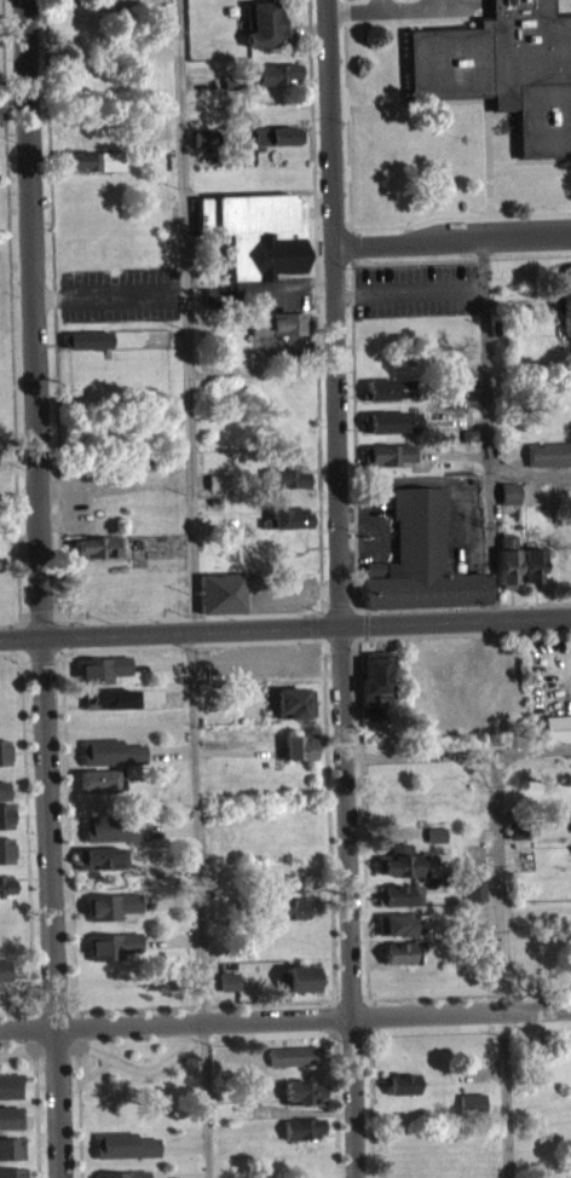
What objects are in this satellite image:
road: (375, 4)
road: (402, 7)
road: (348, 10)
road: (417, 18)
building: (263, 34)
building: (500, 69)
building: (276, 83)
road: (398, 88)
road: (344, 111)
street lamp: (341, 121)
building: (277, 145)
building: (202, 148)
road: (308, 151)
building: (90, 171)
road: (440, 215)
road: (347, 224)
road: (451, 241)
building: (253, 243)
road: (460, 258)
building: (566, 287)
road: (184, 313)
building: (564, 319)
building: (278, 334)
building: (85, 350)
building: (386, 399)
road: (485, 428)
building: (391, 432)
road: (352, 452)
road: (316, 456)
building: (549, 463)
building: (387, 464)
building: (285, 487)
building: (215, 492)
building: (509, 503)
building: (284, 527)
building: (98, 558)
building: (419, 568)
building: (507, 572)
building: (531, 574)
road: (340, 588)
road: (40, 589)
building: (221, 589)
road: (256, 612)
road: (284, 623)
road: (315, 623)
road: (11, 635)
road: (10, 648)
road: (42, 656)
road: (160, 660)
building: (102, 666)
building: (102, 678)
building: (374, 680)
road: (64, 695)
building: (110, 697)
building: (294, 700)
building: (109, 709)
building: (558, 726)
building: (298, 745)
building: (5, 750)
building: (111, 750)
road: (169, 750)
road: (232, 750)
building: (111, 762)
building: (99, 776)
building: (4, 787)
building: (98, 790)
building: (2, 799)
building: (6, 814)
building: (114, 826)
road: (172, 826)
building: (436, 831)
building: (114, 839)
building: (434, 844)
building: (6, 848)
building: (100, 855)
building: (398, 859)
building: (474, 864)
building: (99, 868)
building: (397, 872)
building: (6, 882)
building: (474, 885)
building: (402, 893)
building: (5, 895)
building: (473, 897)
road: (169, 899)
building: (111, 902)
road: (200, 902)
building: (289, 905)
building: (398, 905)
road: (29, 913)
building: (110, 916)
road: (365, 917)
building: (287, 918)
building: (398, 922)
building: (524, 934)
building: (397, 935)
road: (171, 937)
building: (113, 942)
road: (331, 946)
building: (402, 951)
building: (110, 954)
building: (519, 962)
building: (231, 963)
building: (400, 963)
road: (502, 964)
building: (5, 966)
building: (302, 975)
building: (519, 975)
building: (229, 978)
building: (4, 980)
road: (210, 980)
building: (300, 988)
building: (227, 992)
road: (54, 1004)
road: (16, 1009)
road: (373, 1012)
road: (329, 1014)
road: (285, 1017)
road: (82, 1027)
road: (277, 1033)
building: (294, 1053)
building: (293, 1066)
road: (96, 1068)
building: (402, 1081)
building: (10, 1082)
building: (301, 1090)
building: (402, 1093)
building: (8, 1096)
building: (472, 1101)
building: (300, 1103)
road: (336, 1104)
road: (371, 1104)
road: (304, 1109)
building: (471, 1111)
road: (79, 1113)
building: (10, 1115)
building: (302, 1125)
building: (10, 1127)
building: (301, 1138)
building: (123, 1142)
road: (183, 1143)
building: (11, 1145)
building: (123, 1155)
building: (10, 1159)
building: (11, 1172)
building: (122, 1173)
road: (178, 1176)

